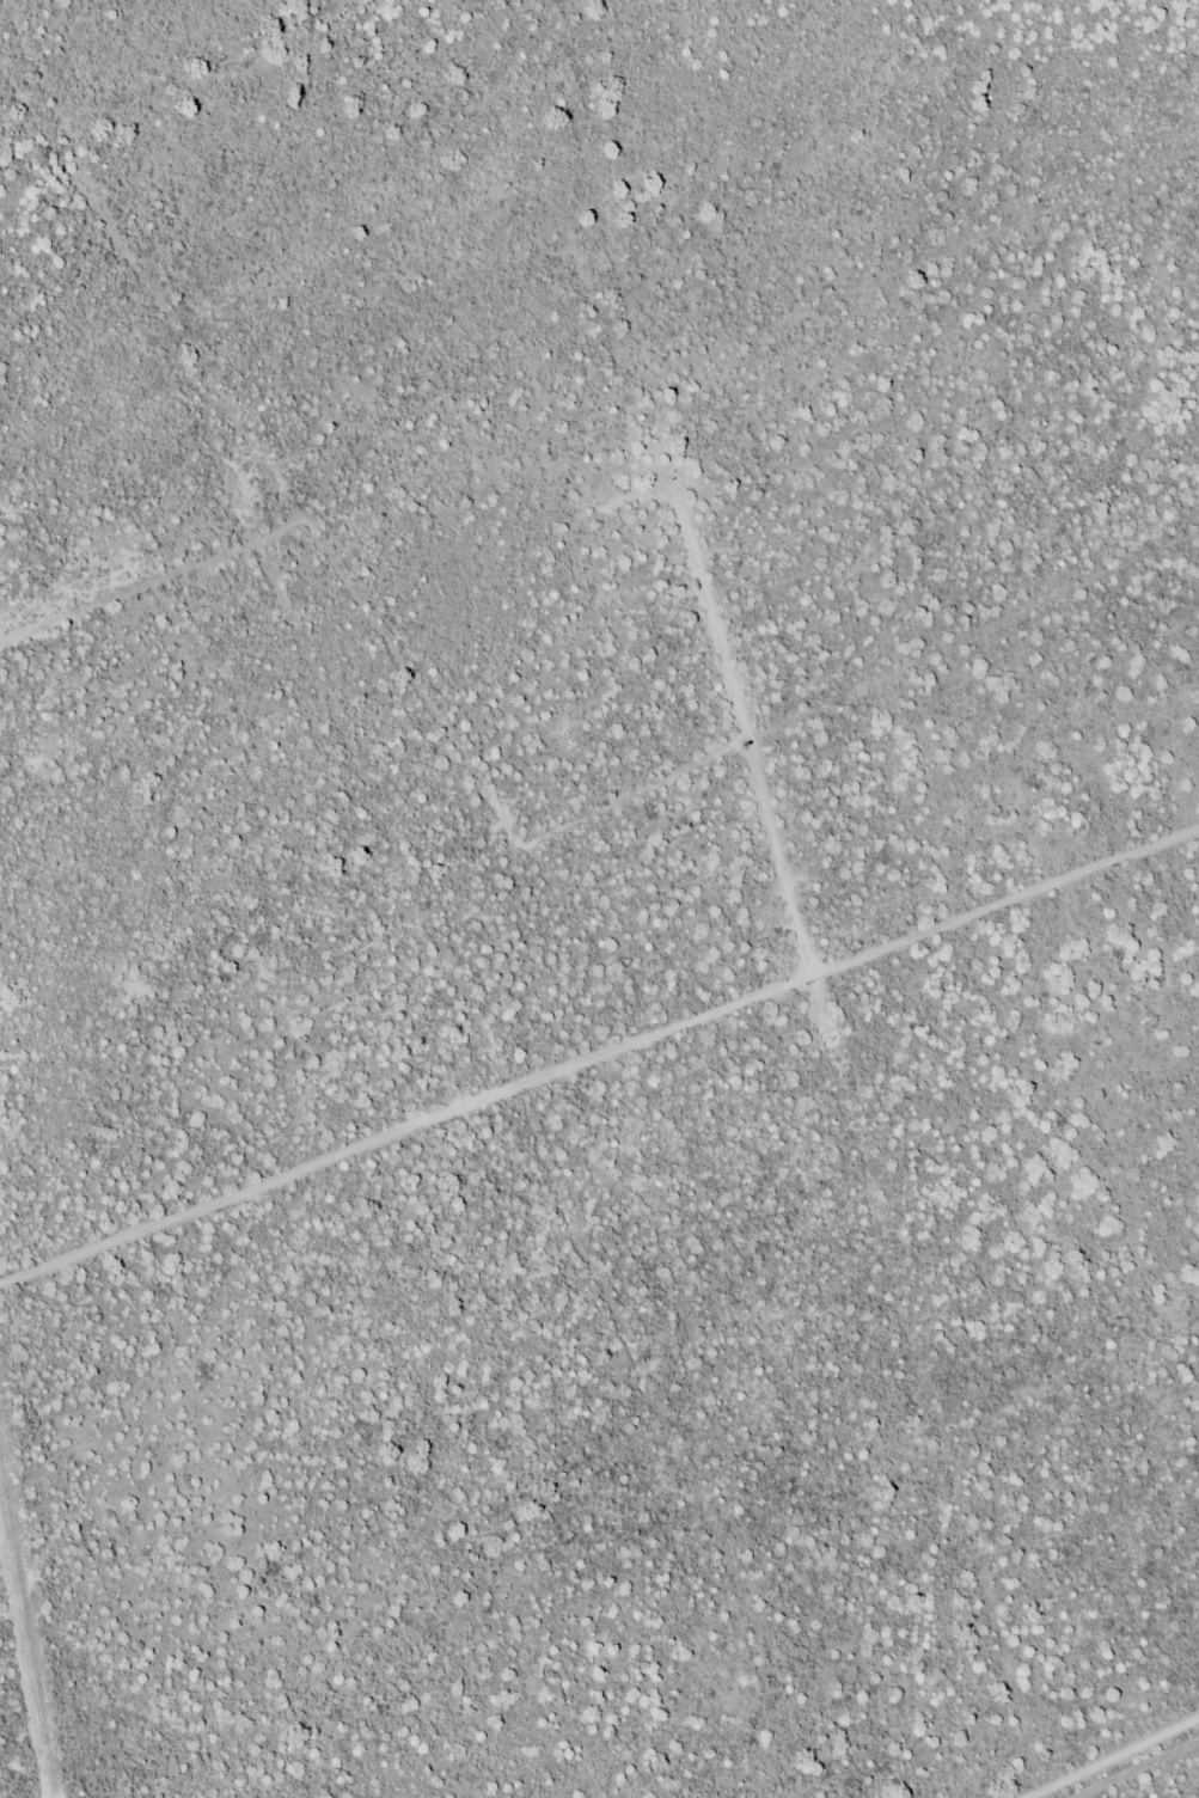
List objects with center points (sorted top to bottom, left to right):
road: (1125, 1761)

